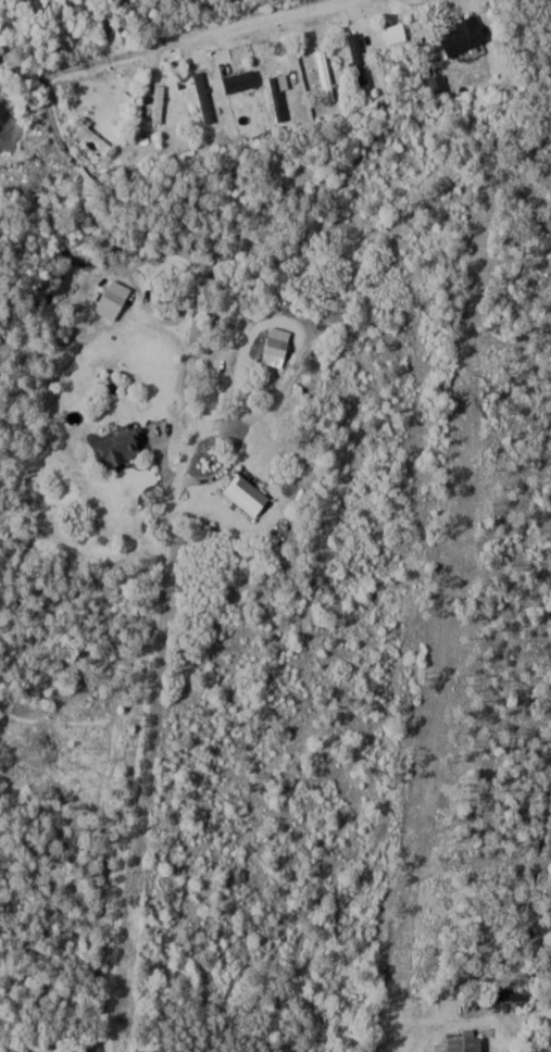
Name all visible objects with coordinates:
road: (203, 34)
building: (468, 40)
building: (360, 58)
building: (327, 75)
building: (243, 80)
building: (205, 96)
building: (280, 98)
building: (159, 103)
building: (123, 105)
building: (93, 134)
building: (279, 345)
building: (125, 444)
road: (200, 478)
building: (249, 492)
road: (124, 836)
building: (468, 1042)

